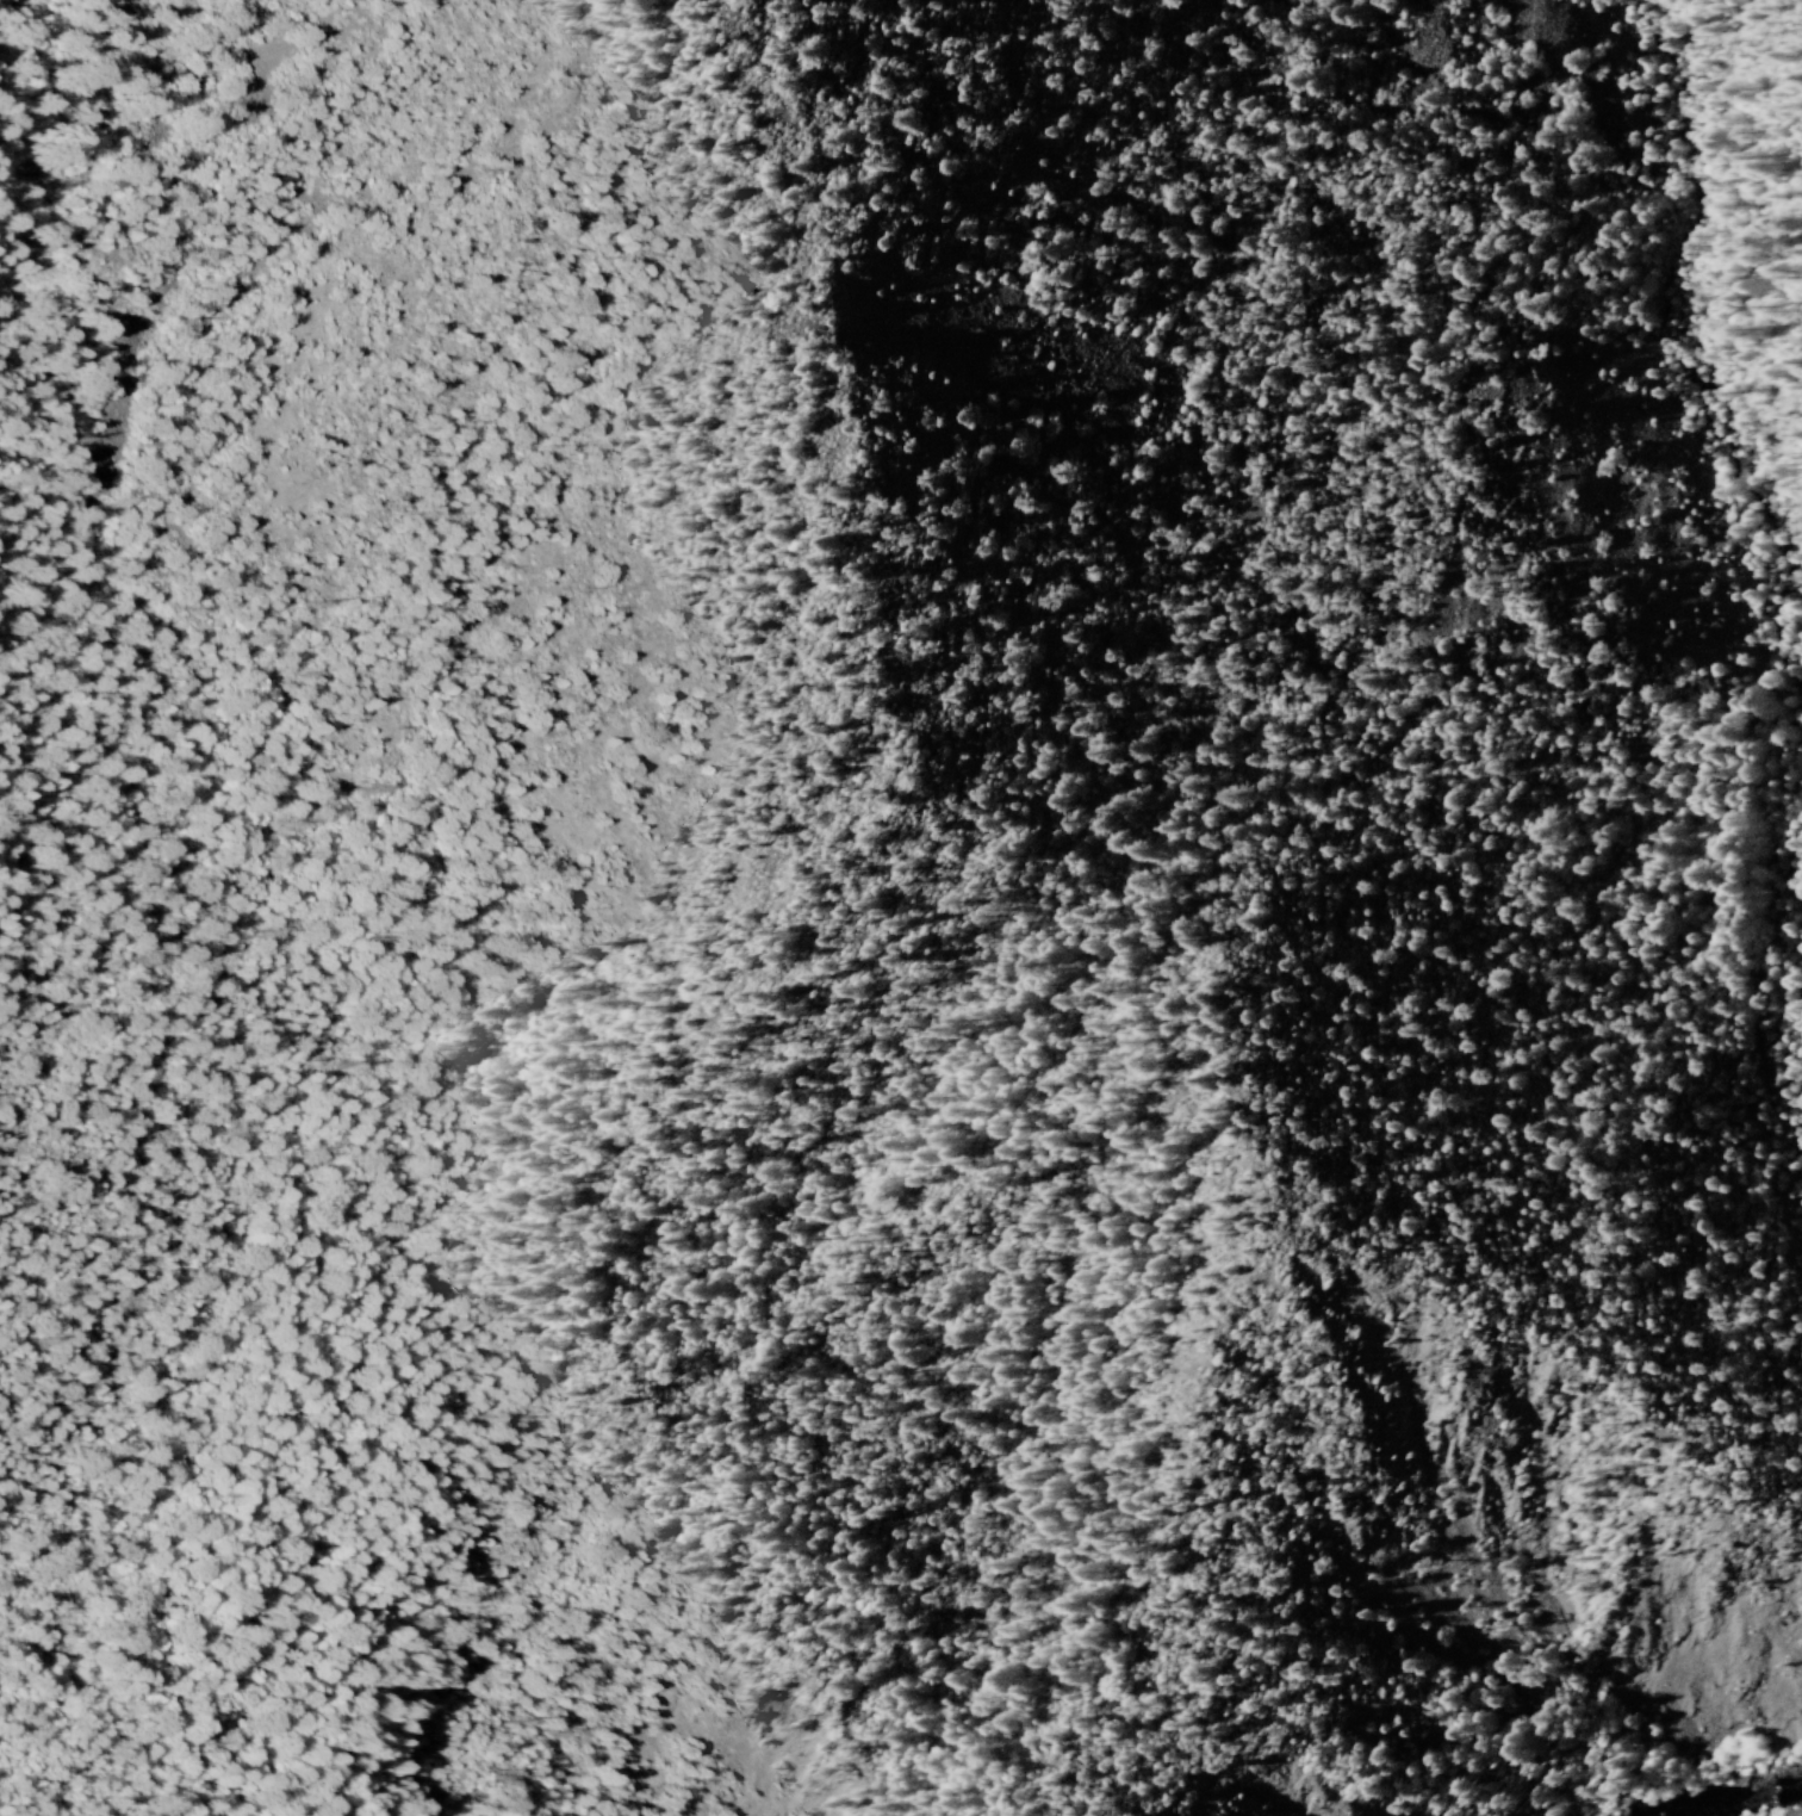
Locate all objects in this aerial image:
river: (1725, 1785)
river: (1655, 1815)

